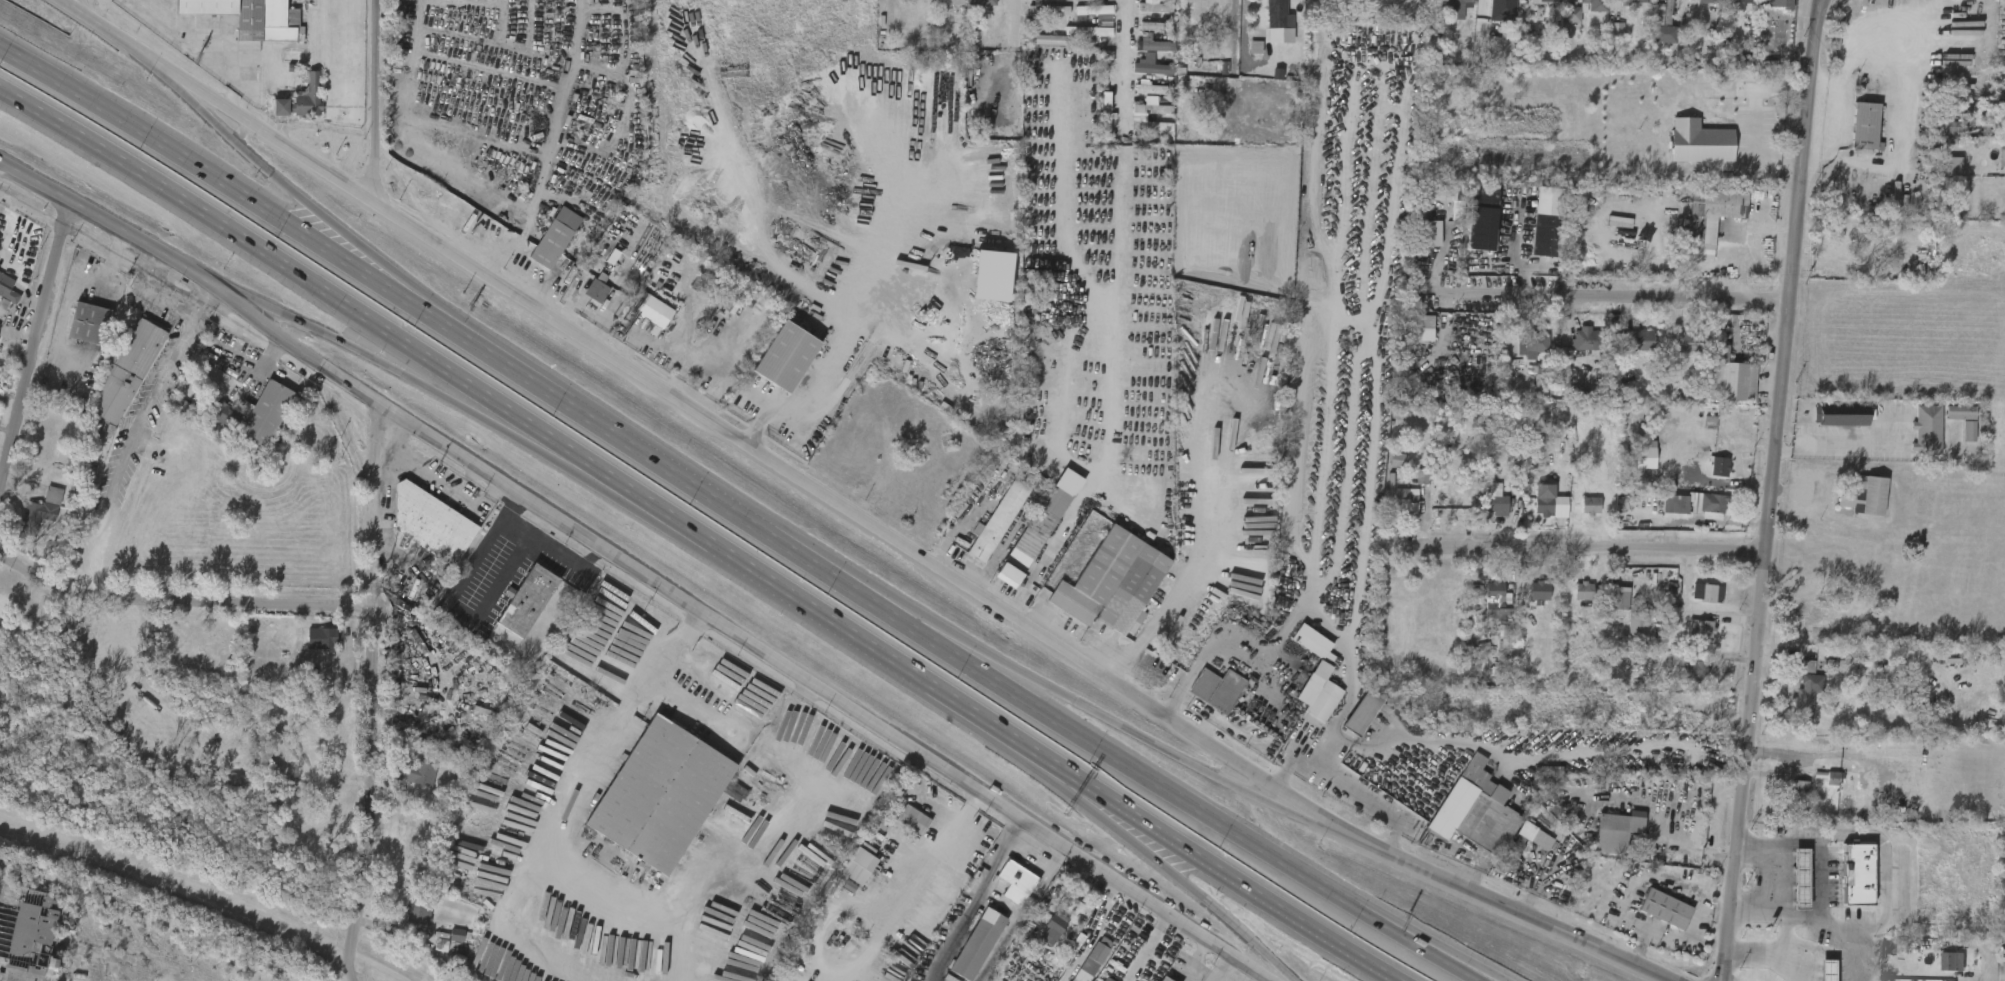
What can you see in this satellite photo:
building: (1033, 0)
building: (1742, 1)
building: (979, 2)
building: (1544, 2)
building: (1708, 2)
building: (948, 3)
building: (1625, 4)
building: (1781, 4)
building: (1595, 5)
building: (1692, 6)
building: (1766, 6)
building: (935, 7)
building: (1154, 7)
building: (1450, 8)
building: (1046, 9)
road: (75, 10)
road: (83, 10)
building: (1096, 13)
building: (1505, 13)
building: (1670, 13)
building: (1142, 14)
building: (1276, 14)
building: (1573, 15)
building: (255, 18)
building: (1080, 19)
building: (1265, 19)
building: (1086, 32)
building: (1138, 36)
building: (1604, 38)
building: (1042, 39)
building: (1075, 40)
building: (1152, 43)
road: (128, 44)
road: (1851, 47)
building: (1031, 49)
building: (1142, 53)
building: (1492, 55)
road: (1012, 60)
road: (1125, 68)
building: (1152, 69)
building: (1137, 75)
building: (1215, 77)
road: (184, 90)
building: (301, 95)
building: (1136, 97)
road: (381, 101)
building: (1150, 105)
building: (1104, 112)
building: (1134, 115)
building: (269, 116)
building: (1093, 121)
building: (1998, 123)
building: (1864, 128)
road: (1831, 136)
building: (1851, 136)
building: (1686, 151)
building: (2001, 157)
road: (205, 171)
road: (270, 174)
building: (1937, 175)
building: (1998, 202)
building: (1432, 205)
building: (1715, 215)
building: (1480, 221)
building: (1416, 234)
building: (1542, 235)
building: (555, 237)
road: (374, 267)
road: (191, 271)
road: (294, 272)
building: (8, 289)
building: (598, 291)
road: (1609, 297)
building: (730, 299)
road: (166, 300)
building: (584, 300)
road: (251, 302)
building: (3, 306)
road: (674, 306)
building: (652, 309)
building: (639, 319)
building: (91, 324)
building: (1421, 328)
building: (77, 332)
building: (1410, 337)
building: (1589, 339)
building: (1530, 341)
building: (1635, 341)
building: (1691, 341)
building: (1570, 348)
building: (1674, 350)
road: (640, 352)
building: (1519, 354)
road: (675, 357)
road: (37, 358)
road: (697, 358)
building: (779, 359)
road: (835, 364)
road: (391, 368)
building: (126, 369)
road: (1101, 373)
building: (1729, 378)
building: (269, 413)
building: (225, 416)
building: (1843, 420)
building: (1947, 421)
building: (1718, 424)
building: (214, 426)
building: (1926, 431)
building: (1914, 439)
building: (1955, 440)
road: (542, 445)
road: (750, 448)
road: (125, 449)
building: (1641, 455)
road: (659, 465)
building: (1631, 465)
building: (1384, 469)
building: (1707, 475)
road: (442, 483)
road: (1771, 490)
building: (1863, 496)
building: (1404, 499)
building: (1453, 499)
building: (1673, 502)
building: (1711, 502)
building: (1497, 504)
building: (1393, 509)
building: (42, 510)
building: (1535, 511)
building: (1696, 512)
building: (1439, 513)
building: (1661, 513)
building: (1483, 514)
building: (1577, 514)
building: (998, 517)
road: (1213, 521)
building: (431, 522)
building: (1036, 525)
road: (539, 547)
road: (1596, 550)
building: (1109, 582)
building: (1583, 590)
building: (1536, 591)
building: (1704, 591)
building: (1494, 598)
building: (533, 600)
building: (1526, 600)
building: (1570, 600)
building: (1693, 601)
road: (176, 603)
building: (1608, 606)
road: (458, 607)
building: (1482, 609)
road: (830, 619)
building: (1624, 633)
building: (322, 637)
building: (1688, 638)
building: (1312, 642)
road: (956, 645)
building: (309, 647)
building: (1696, 667)
road: (657, 671)
building: (1789, 675)
building: (1684, 678)
road: (821, 688)
building: (1216, 689)
building: (1805, 690)
road: (363, 691)
building: (1320, 702)
building: (1793, 703)
building: (1360, 711)
road: (1135, 734)
road: (1807, 758)
road: (1778, 763)
road: (1279, 764)
building: (420, 772)
building: (1831, 779)
building: (406, 782)
building: (1819, 787)
road: (1167, 790)
building: (1798, 791)
building: (661, 795)
building: (1786, 799)
road: (1341, 801)
road: (1105, 812)
building: (1478, 812)
road: (1306, 815)
building: (914, 820)
road: (959, 822)
building: (1618, 826)
building: (900, 828)
building: (1522, 844)
building: (844, 874)
building: (1013, 876)
building: (1857, 876)
building: (1799, 879)
road: (1233, 881)
road: (1883, 885)
building: (1787, 887)
building: (1003, 891)
road: (972, 899)
road: (1204, 899)
road: (1502, 905)
building: (1664, 908)
building: (415, 913)
road: (1021, 916)
building: (1652, 917)
building: (407, 921)
building: (1052, 927)
building: (39, 937)
building: (1040, 940)
building: (974, 942)
building: (444, 943)
road: (1146, 948)
building: (429, 950)
road: (1771, 952)
building: (494, 958)
building: (1090, 960)
building: (1997, 961)
building: (1952, 962)
road: (1452, 964)
road: (1464, 964)
road: (1219, 968)
road: (1278, 969)
building: (1940, 970)
building: (1106, 979)
building: (1163, 979)

